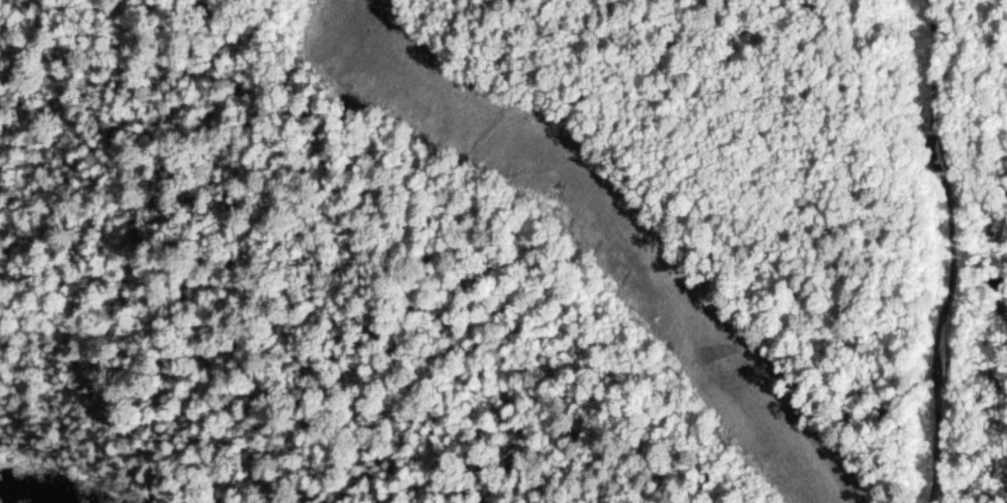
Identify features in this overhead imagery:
road: (940, 251)

